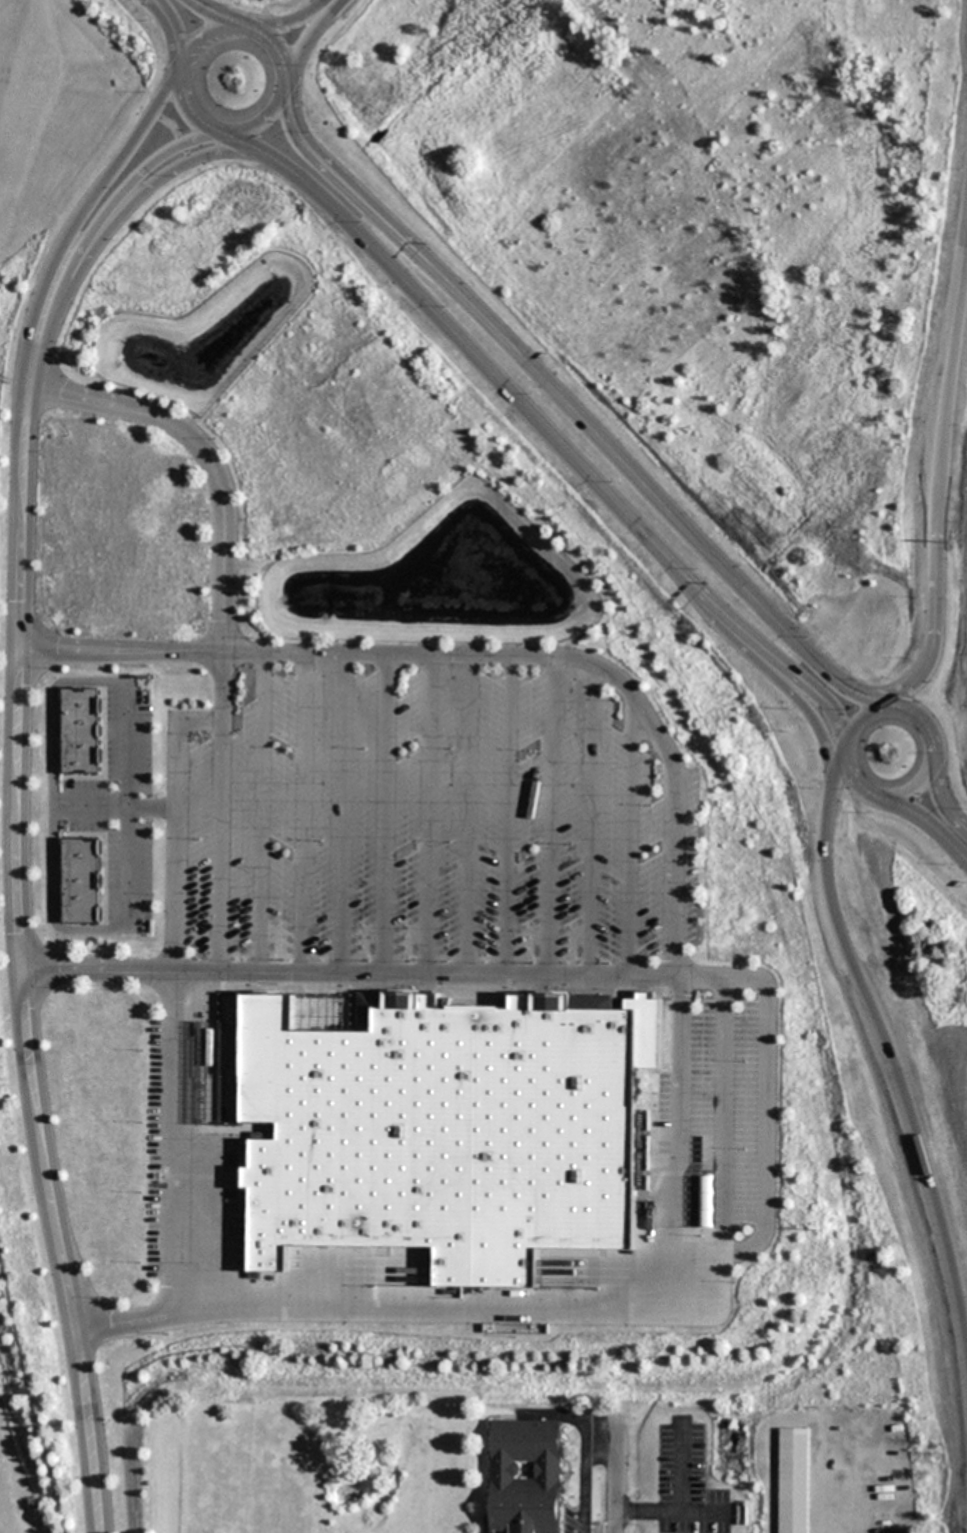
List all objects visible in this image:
road: (334, 1)
road: (209, 11)
road: (291, 19)
road: (174, 29)
road: (198, 36)
road: (308, 36)
road: (280, 47)
road: (191, 110)
road: (261, 126)
crop: (59, 137)
road: (155, 179)
road: (76, 221)
road: (91, 234)
road: (574, 412)
road: (544, 429)
road: (936, 494)
road: (223, 614)
road: (479, 657)
road: (766, 675)
road: (886, 707)
road: (856, 718)
road: (923, 726)
building: (80, 731)
road: (126, 741)
road: (849, 777)
road: (912, 788)
road: (941, 802)
road: (259, 812)
road: (301, 812)
road: (342, 813)
road: (385, 813)
road: (428, 814)
road: (469, 816)
road: (508, 816)
road: (550, 818)
road: (174, 822)
road: (592, 822)
road: (928, 826)
road: (631, 841)
building: (81, 881)
road: (15, 965)
road: (884, 1045)
road: (765, 1111)
road: (723, 1115)
road: (678, 1129)
building: (455, 1133)
road: (172, 1143)
crop: (28, 1345)
road: (615, 1470)
building: (525, 1477)
building: (793, 1480)

